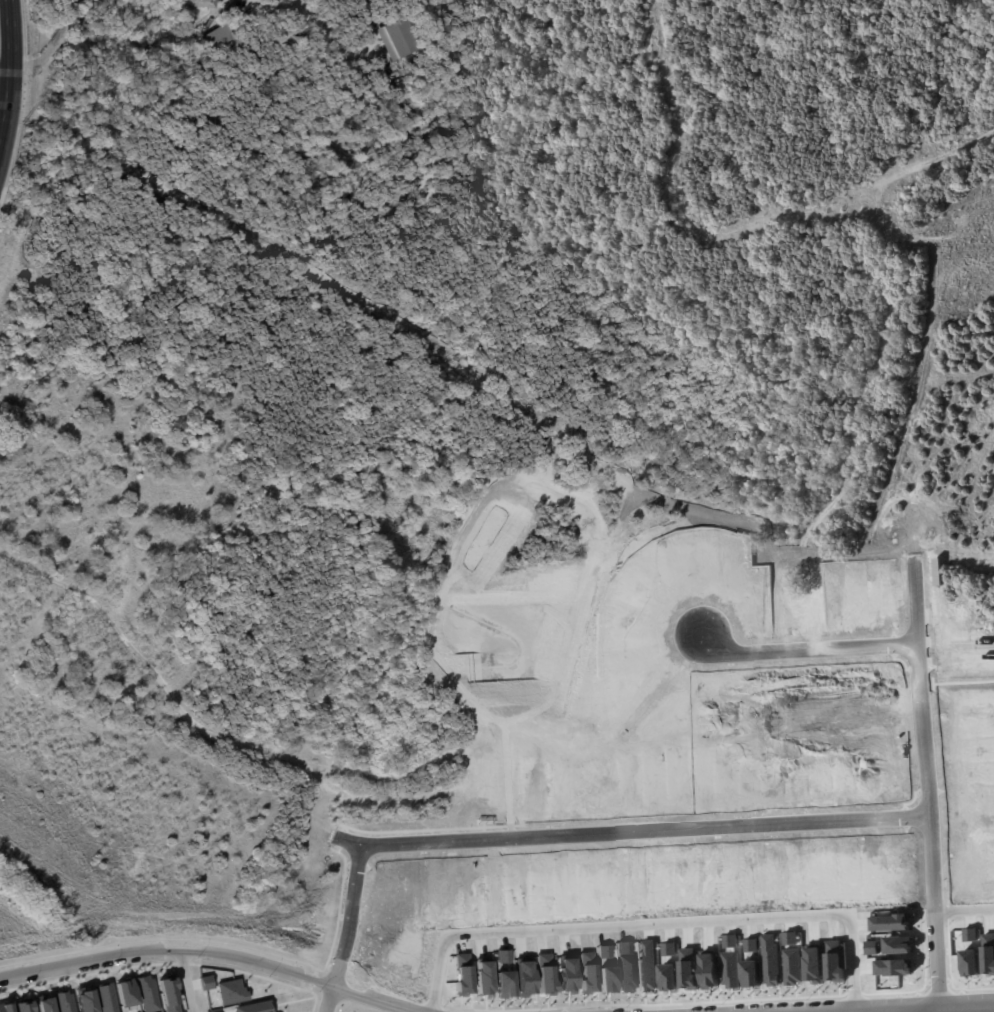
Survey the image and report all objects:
building: (195, 4)
building: (216, 39)
building: (397, 39)
road: (11, 48)
road: (54, 48)
road: (4, 97)
road: (4, 122)
building: (330, 149)
road: (812, 647)
road: (926, 781)
building: (485, 820)
road: (588, 832)
road: (966, 903)
road: (664, 918)
building: (965, 934)
road: (210, 951)
building: (837, 963)
building: (730, 969)
building: (891, 970)
building: (751, 973)
building: (586, 977)
road: (184, 981)
building: (207, 982)
road: (332, 983)
building: (503, 983)
building: (232, 990)
building: (129, 992)
building: (148, 993)
building: (171, 994)
building: (107, 997)
building: (65, 1001)
building: (89, 1001)
building: (48, 1005)
building: (24, 1006)
building: (8, 1007)
building: (253, 1007)
road: (927, 1007)
road: (632, 1011)

